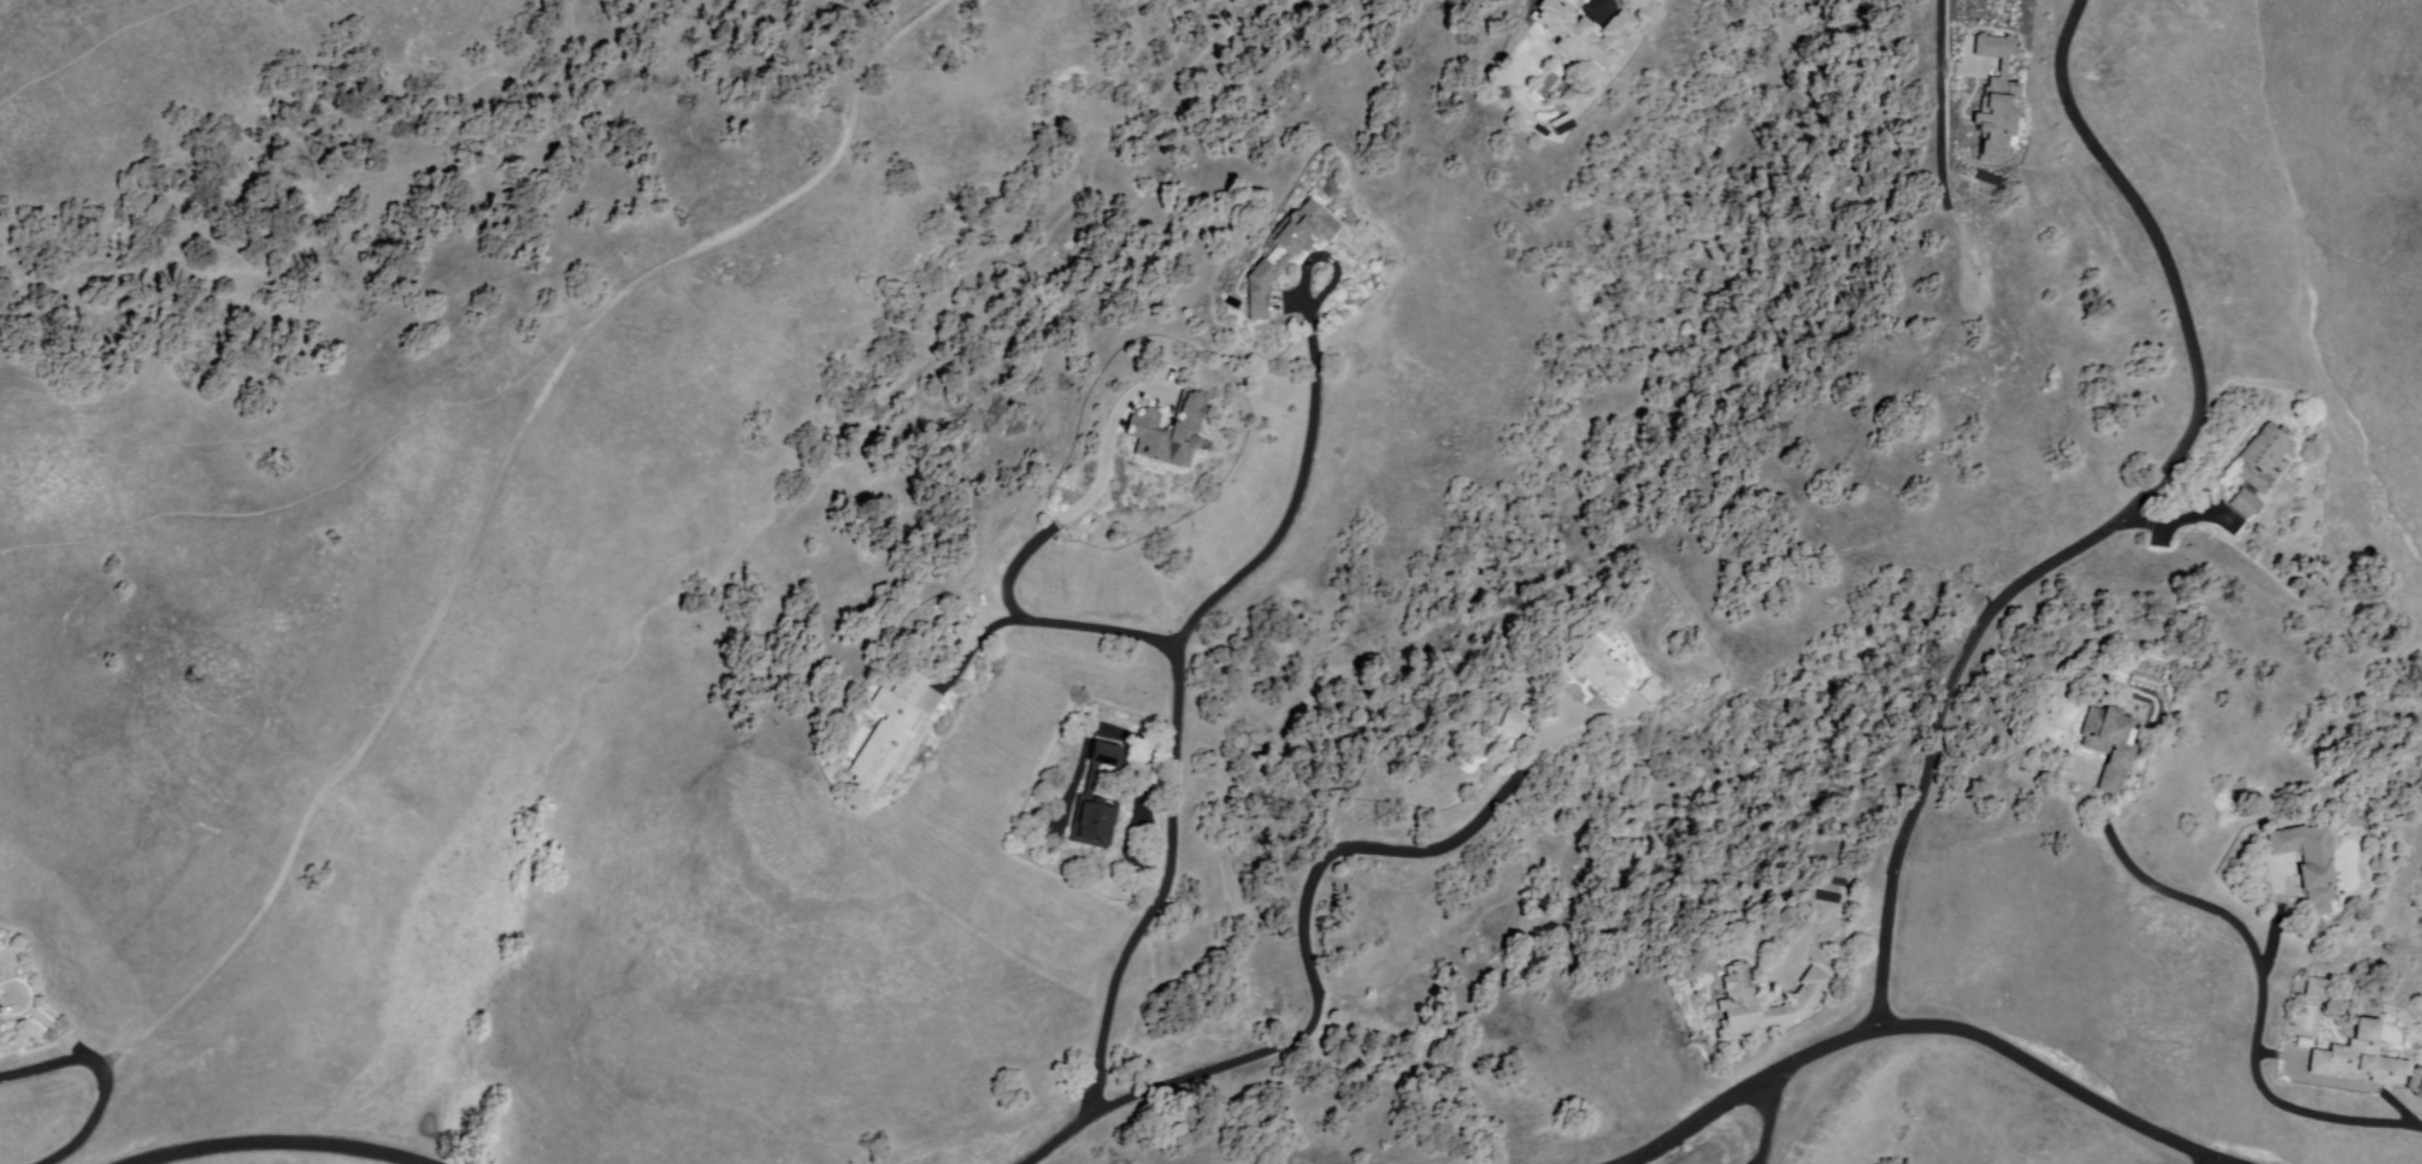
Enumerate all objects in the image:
road: (1599, 1)
building: (1579, 36)
building: (1569, 100)
road: (1943, 102)
building: (1996, 104)
building: (1290, 254)
building: (1174, 431)
road: (1313, 432)
building: (2264, 457)
road: (1088, 500)
road: (494, 501)
building: (2246, 506)
road: (2117, 524)
road: (1054, 625)
building: (1597, 669)
power tower: (196, 683)
building: (1655, 692)
building: (1515, 722)
building: (891, 732)
building: (2106, 746)
building: (1100, 804)
building: (2310, 863)
road: (1308, 908)
road: (1145, 924)
building: (0, 976)
building: (2317, 994)
road: (2262, 1005)
building: (1766, 1006)
building: (1, 1022)
road: (1928, 1029)
building: (0, 1034)
building: (2362, 1054)
road: (106, 1075)
road: (1773, 1119)
road: (282, 1141)
road: (2208, 1160)

